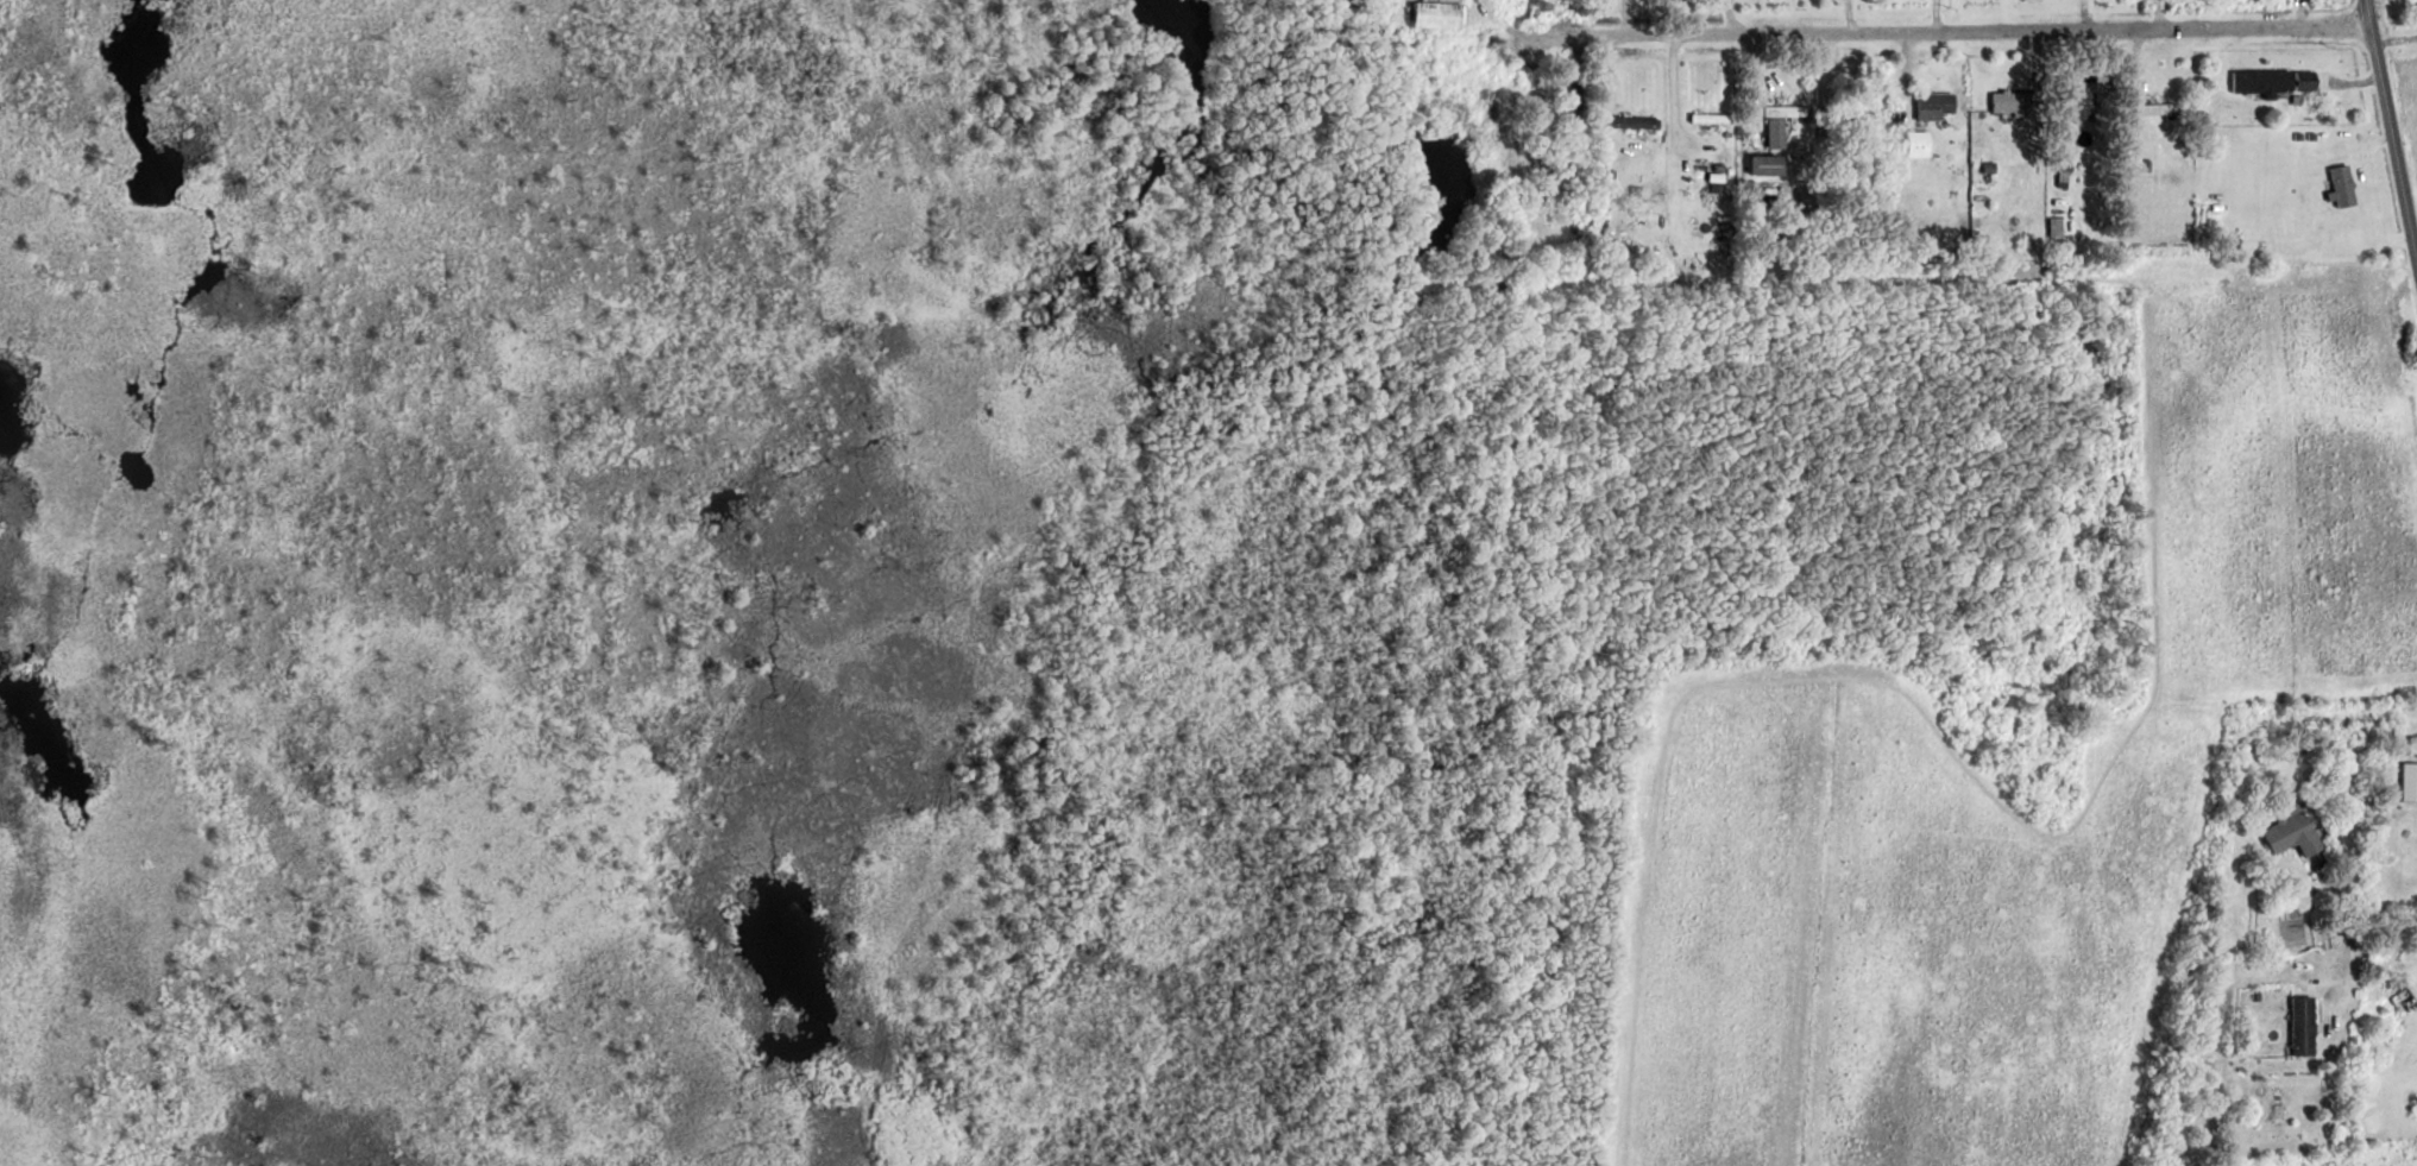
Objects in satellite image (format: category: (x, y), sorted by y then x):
building: (1433, 13)
road: (1936, 32)
road: (2397, 38)
building: (2302, 80)
building: (2259, 81)
building: (1574, 96)
crop: (2409, 99)
building: (2008, 101)
building: (2073, 102)
building: (1928, 105)
building: (2155, 107)
building: (1782, 109)
building: (1857, 115)
building: (1708, 116)
building: (1631, 121)
road: (2392, 121)
building: (1547, 151)
building: (1762, 164)
building: (2330, 189)
building: (2415, 744)
building: (2407, 781)
building: (2289, 833)
road: (2377, 931)
building: (2300, 1025)

